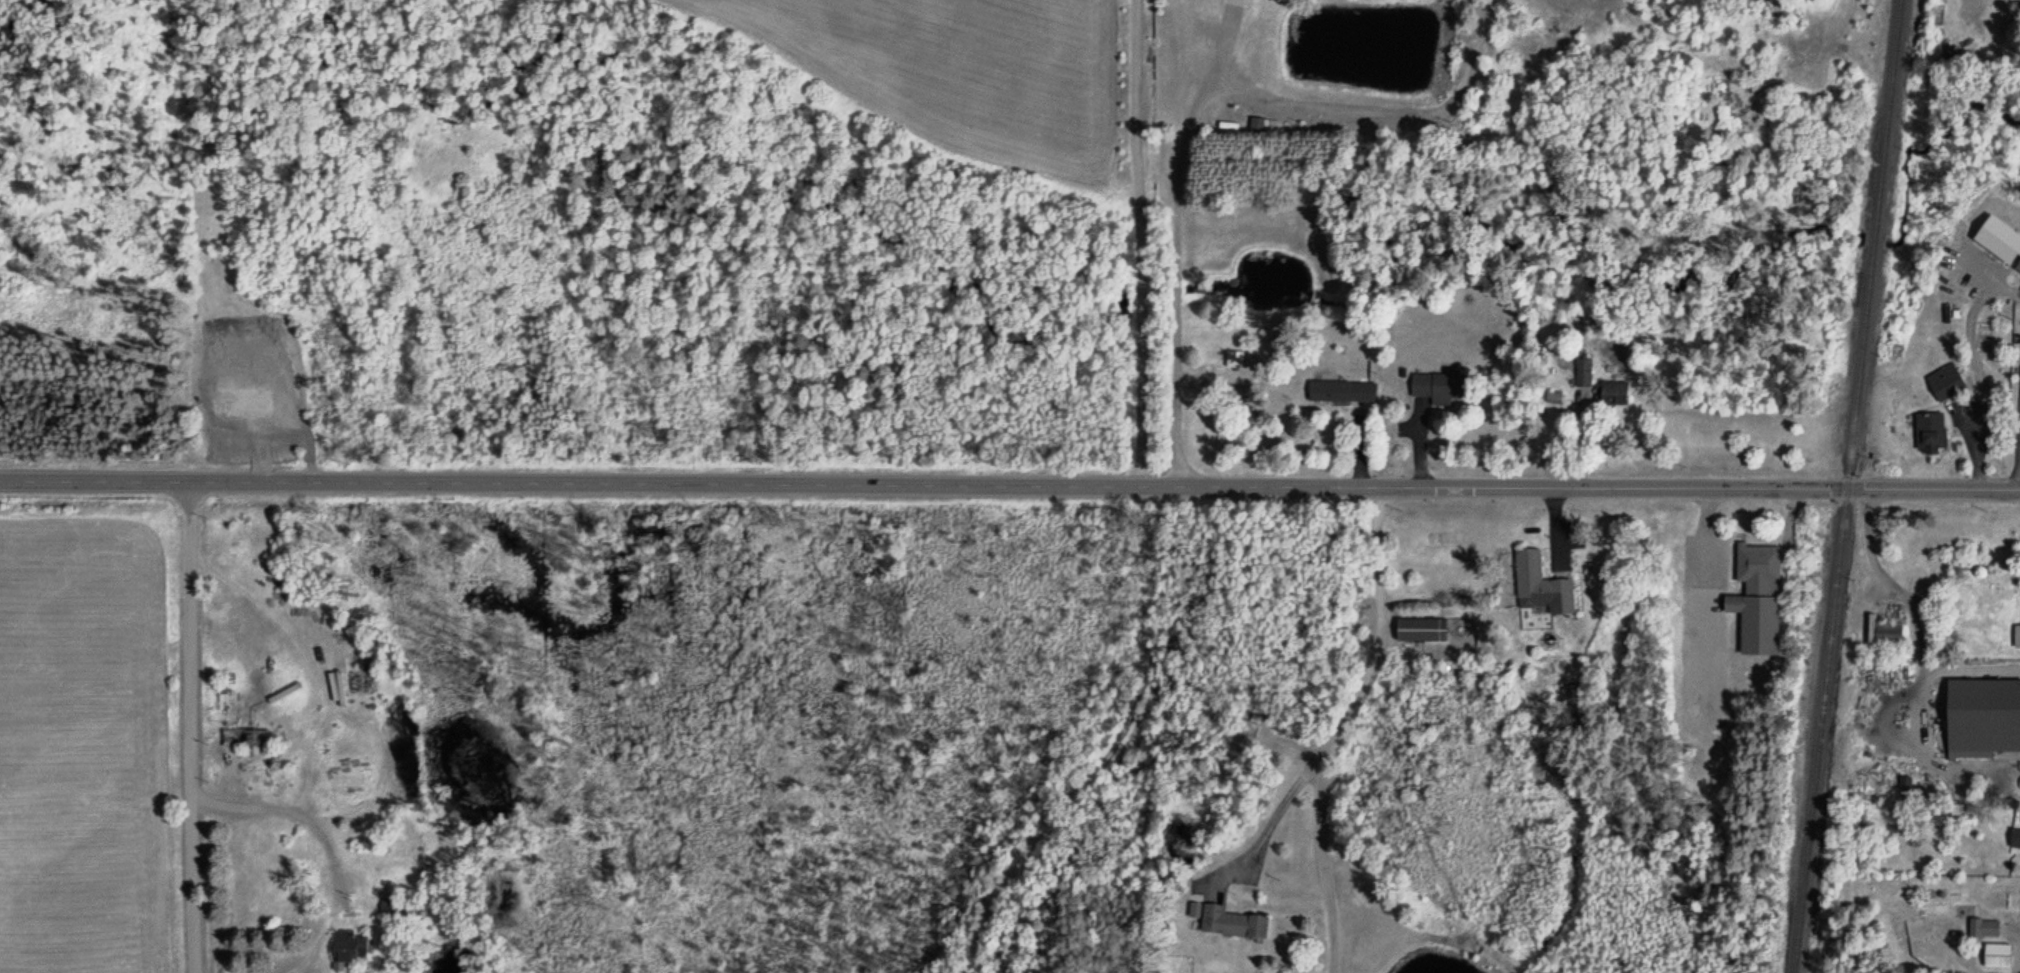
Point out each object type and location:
road: (1219, 44)
road: (1199, 106)
building: (2018, 244)
building: (2017, 261)
building: (2017, 267)
road: (1987, 276)
building: (1233, 355)
building: (1581, 367)
building: (1400, 368)
building: (1943, 376)
road: (1981, 380)
building: (1438, 382)
building: (1341, 385)
building: (1609, 390)
building: (1550, 392)
building: (1928, 426)
road: (2019, 426)
road: (1010, 486)
railway: (1844, 486)
building: (1545, 581)
road: (1703, 593)
building: (1757, 594)
building: (1421, 625)
building: (1889, 627)
building: (2016, 630)
road: (1919, 667)
road: (1970, 667)
road: (1352, 694)
building: (1982, 711)
road: (193, 726)
building: (231, 738)
building: (2019, 779)
building: (2014, 831)
road: (1320, 866)
building: (1233, 919)
building: (1979, 922)
road: (2011, 933)
building: (346, 949)
building: (1997, 949)

